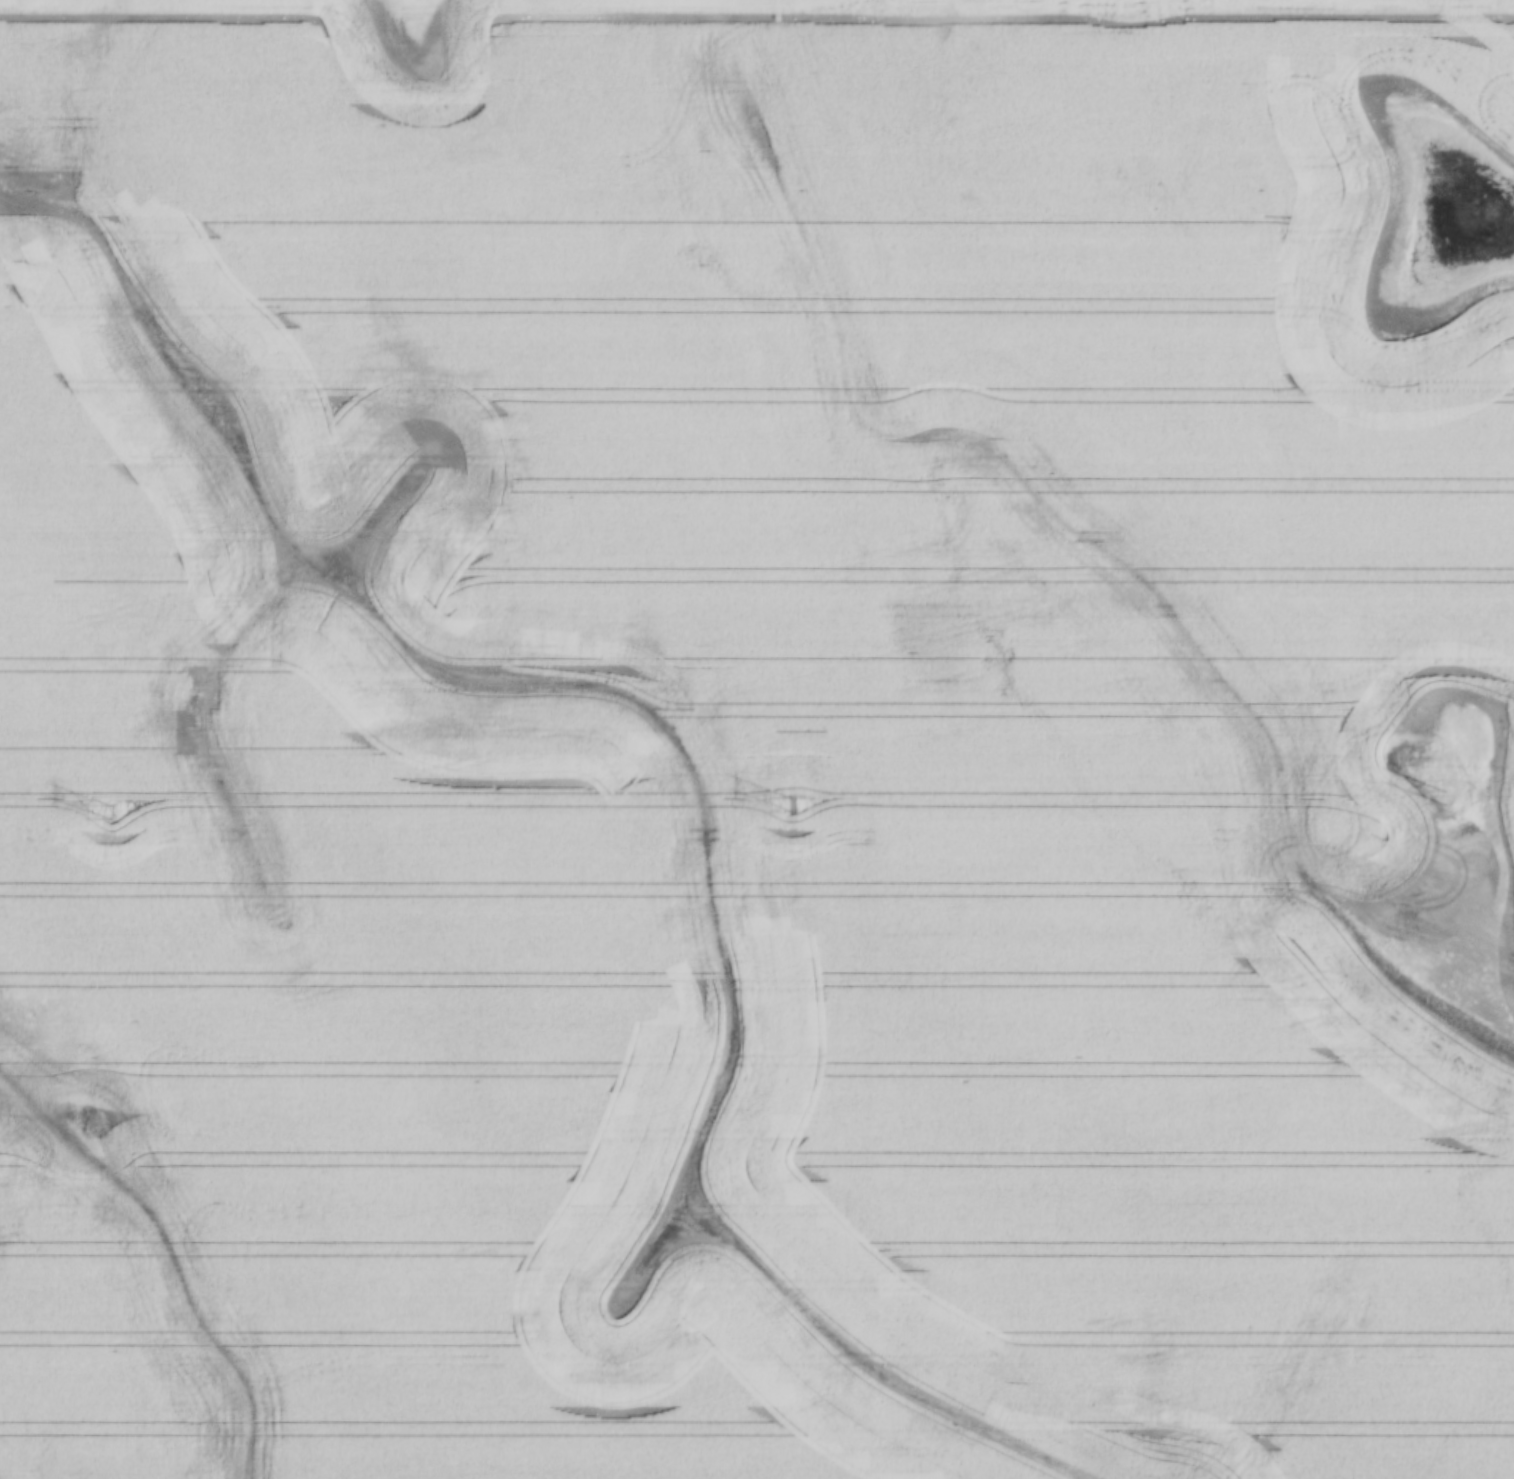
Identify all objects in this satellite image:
road: (874, 739)
power tower: (1443, 800)
power tower: (786, 806)
power tower: (108, 815)

